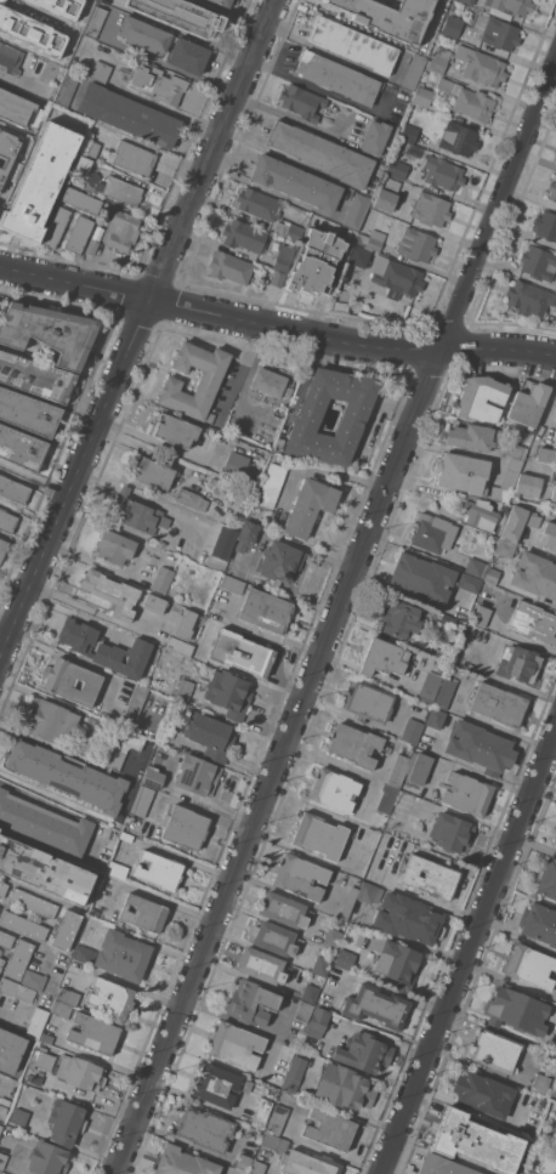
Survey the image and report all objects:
building: (469, 1)
building: (225, 2)
building: (56, 7)
building: (510, 7)
building: (180, 15)
building: (387, 16)
building: (95, 21)
building: (452, 25)
building: (30, 30)
building: (497, 32)
building: (144, 34)
building: (352, 42)
building: (188, 55)
building: (10, 59)
building: (439, 59)
building: (481, 66)
building: (97, 69)
building: (414, 72)
road: (289, 75)
building: (337, 76)
building: (155, 83)
building: (67, 87)
building: (421, 96)
building: (467, 100)
building: (301, 102)
building: (18, 109)
road: (165, 109)
building: (129, 114)
building: (409, 132)
building: (375, 136)
building: (459, 138)
building: (91, 148)
road: (149, 149)
building: (7, 152)
building: (322, 152)
building: (132, 157)
building: (84, 163)
building: (397, 169)
building: (15, 170)
building: (443, 172)
building: (39, 182)
building: (296, 182)
building: (91, 187)
building: (552, 189)
building: (123, 191)
building: (386, 194)
building: (80, 199)
building: (431, 209)
building: (267, 211)
building: (356, 211)
building: (546, 225)
building: (55, 227)
building: (120, 229)
building: (79, 233)
building: (244, 236)
building: (93, 239)
building: (371, 239)
building: (416, 244)
building: (359, 255)
building: (283, 259)
building: (318, 262)
building: (538, 262)
building: (229, 267)
building: (396, 277)
building: (277, 278)
road: (74, 280)
building: (529, 297)
building: (342, 306)
road: (136, 327)
building: (49, 330)
road: (350, 341)
building: (35, 376)
building: (271, 382)
building: (206, 385)
building: (481, 398)
building: (528, 403)
building: (28, 412)
building: (353, 416)
building: (555, 418)
building: (175, 430)
building: (471, 435)
building: (21, 447)
building: (548, 452)
building: (234, 464)
building: (154, 471)
building: (463, 472)
building: (509, 475)
road: (34, 476)
road: (33, 483)
building: (527, 484)
building: (270, 486)
building: (13, 489)
building: (554, 490)
building: (191, 499)
building: (310, 505)
building: (137, 512)
building: (478, 512)
building: (6, 520)
building: (517, 522)
building: (433, 533)
building: (245, 535)
building: (548, 535)
building: (223, 543)
building: (2, 546)
building: (114, 546)
building: (505, 548)
building: (280, 561)
building: (476, 567)
building: (492, 574)
building: (535, 575)
building: (421, 577)
building: (163, 579)
building: (469, 582)
building: (232, 584)
building: (112, 592)
building: (154, 603)
building: (265, 609)
building: (463, 611)
road: (334, 614)
building: (482, 616)
building: (398, 618)
building: (534, 622)
building: (183, 623)
building: (178, 645)
building: (104, 648)
building: (240, 652)
building: (384, 657)
road: (75, 659)
building: (517, 663)
building: (70, 680)
building: (430, 686)
building: (183, 690)
building: (444, 692)
building: (228, 693)
building: (136, 701)
building: (368, 703)
building: (499, 704)
building: (436, 718)
building: (51, 721)
building: (102, 728)
building: (412, 730)
building: (208, 733)
building: (353, 744)
building: (480, 747)
building: (420, 769)
building: (76, 770)
building: (398, 770)
building: (197, 775)
building: (153, 777)
building: (334, 789)
building: (467, 793)
building: (387, 798)
building: (142, 800)
building: (44, 823)
building: (185, 827)
building: (452, 832)
building: (319, 835)
building: (126, 836)
building: (555, 840)
building: (117, 869)
building: (159, 869)
building: (44, 870)
building: (300, 877)
building: (430, 877)
building: (548, 879)
building: (2, 889)
building: (368, 892)
building: (33, 902)
building: (347, 902)
building: (283, 909)
building: (93, 912)
building: (143, 913)
building: (408, 919)
building: (540, 923)
building: (23, 924)
building: (66, 930)
building: (273, 937)
building: (331, 937)
building: (6, 938)
road: (466, 948)
building: (84, 954)
building: (123, 954)
building: (0, 955)
building: (18, 958)
building: (345, 959)
building: (396, 962)
building: (1, 963)
building: (260, 965)
building: (320, 965)
building: (531, 965)
building: (333, 977)
building: (34, 979)
building: (17, 989)
building: (310, 993)
building: (68, 996)
building: (110, 998)
building: (327, 999)
building: (251, 1002)
building: (376, 1005)
building: (62, 1008)
building: (303, 1010)
building: (517, 1010)
building: (317, 1021)
building: (36, 1022)
building: (93, 1033)
building: (46, 1038)
building: (236, 1044)
building: (10, 1050)
building: (494, 1050)
building: (363, 1051)
building: (42, 1059)
building: (84, 1073)
building: (295, 1073)
building: (540, 1083)
building: (215, 1084)
building: (344, 1087)
building: (483, 1093)
building: (554, 1093)
building: (544, 1101)
building: (261, 1112)
building: (19, 1116)
building: (277, 1119)
building: (64, 1121)
building: (329, 1128)
building: (204, 1129)
building: (476, 1141)
building: (274, 1142)
building: (2, 1158)
building: (47, 1158)
building: (183, 1162)
building: (243, 1162)
building: (308, 1163)
building: (442, 1166)
building: (256, 1167)
building: (528, 1172)
building: (249, 1173)

